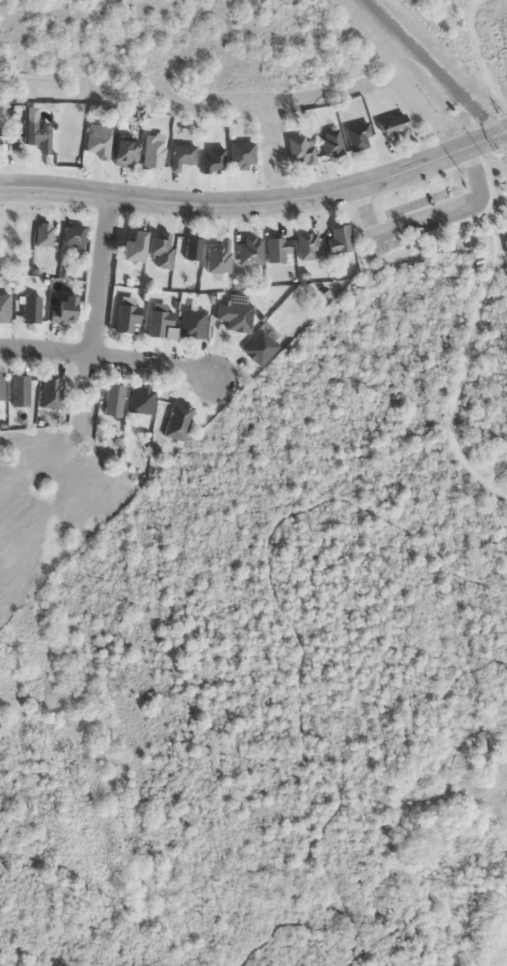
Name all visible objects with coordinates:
building: (500, 41)
railway: (436, 70)
building: (394, 126)
building: (38, 133)
building: (357, 137)
building: (331, 142)
building: (98, 145)
building: (300, 149)
building: (153, 151)
building: (124, 152)
building: (182, 155)
building: (241, 155)
building: (213, 159)
road: (258, 204)
parking lot: (422, 217)
road: (428, 217)
building: (73, 234)
building: (339, 239)
building: (505, 243)
building: (307, 245)
building: (133, 247)
building: (193, 248)
building: (161, 249)
building: (277, 249)
building: (250, 250)
building: (218, 256)
building: (478, 260)
road: (102, 275)
building: (5, 307)
building: (30, 309)
building: (64, 310)
building: (235, 316)
building: (127, 318)
building: (159, 323)
building: (192, 323)
road: (470, 344)
building: (260, 348)
road: (107, 356)
building: (1, 387)
building: (19, 391)
building: (50, 393)
building: (113, 400)
building: (141, 401)
building: (178, 421)
road: (495, 472)
road: (495, 490)
road: (301, 641)
park: (291, 649)
road: (441, 761)
road: (290, 921)

